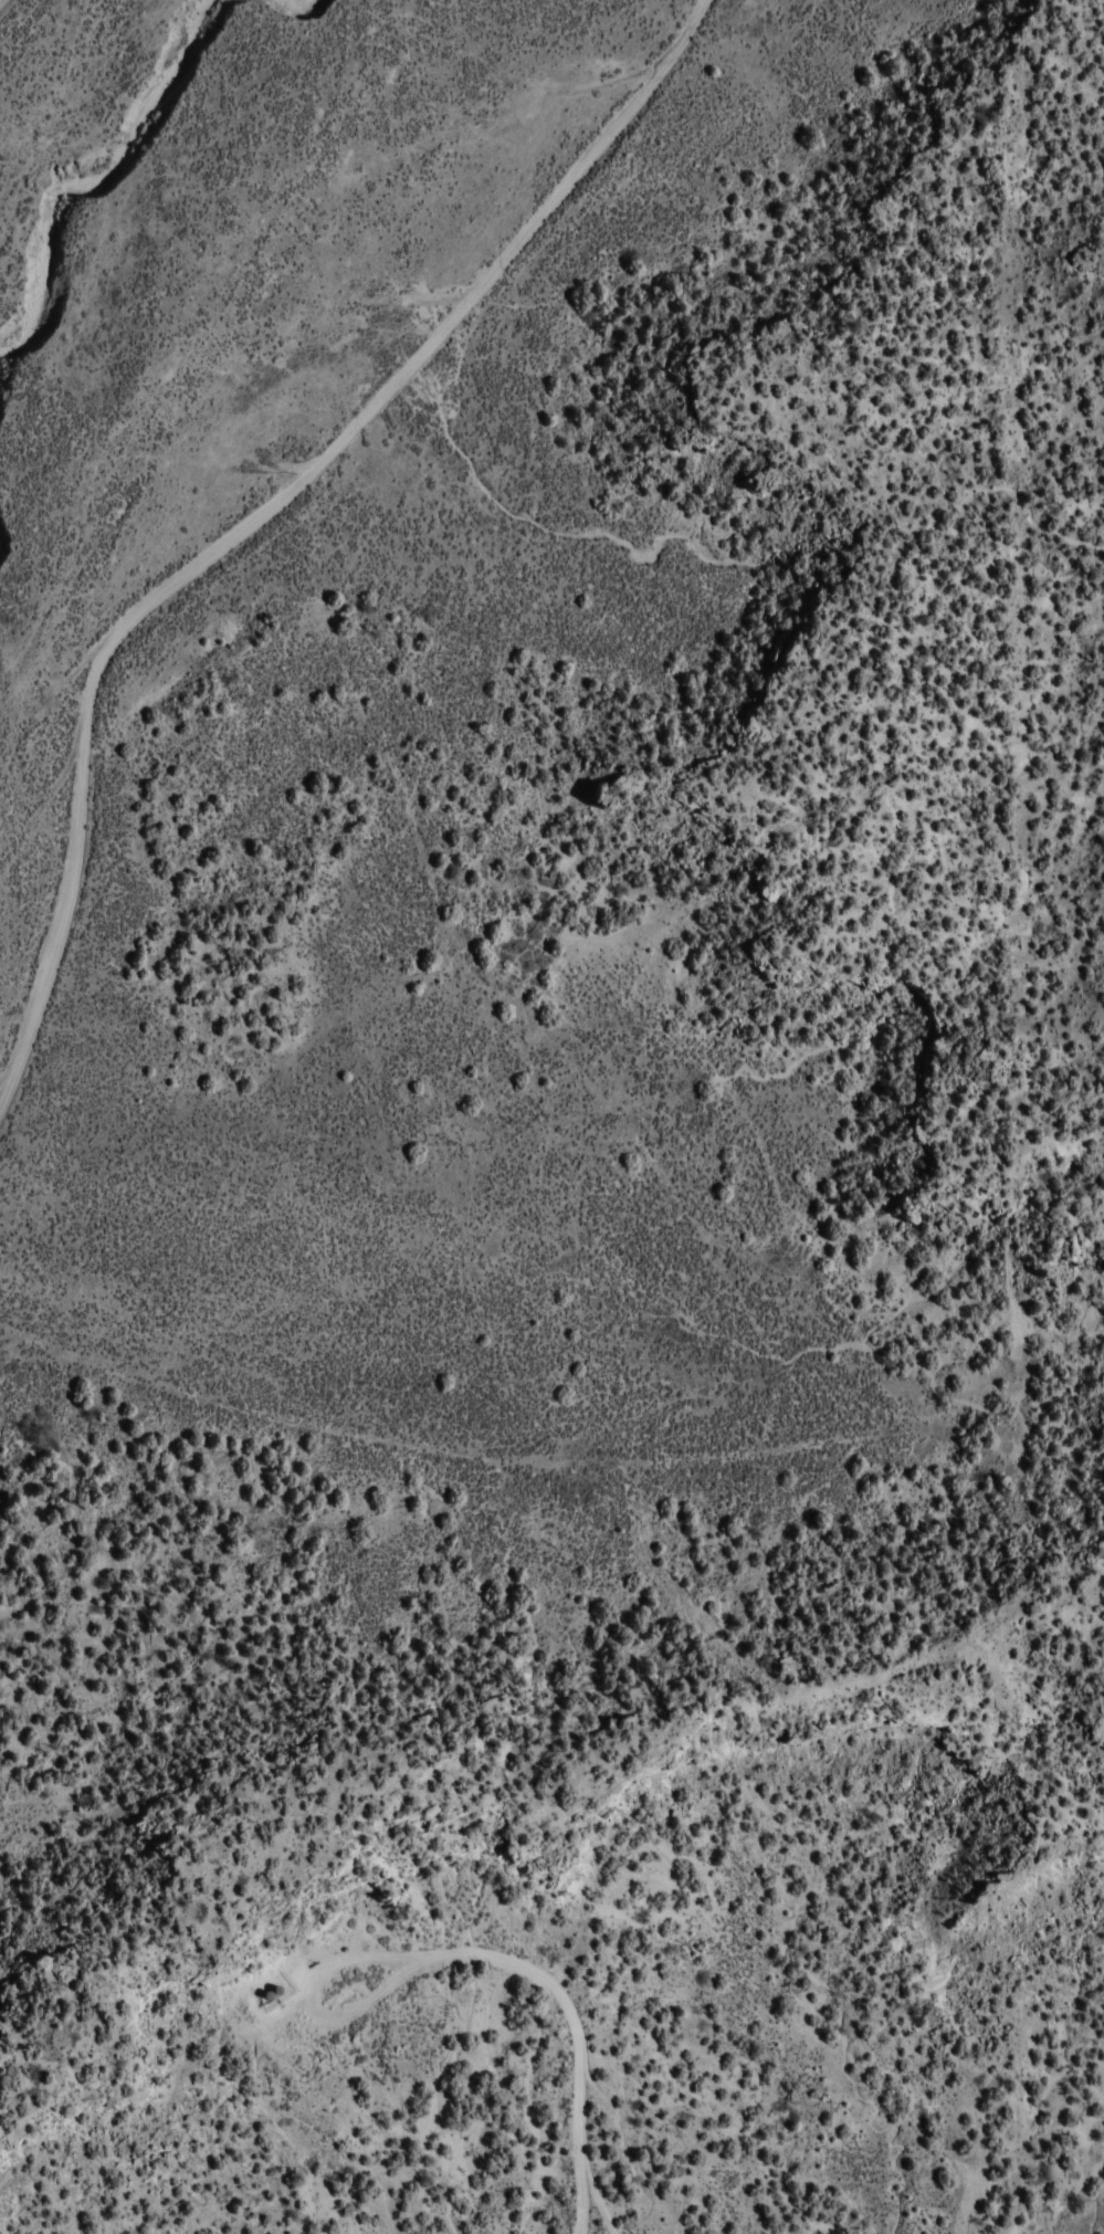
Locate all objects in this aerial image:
road: (250, 521)

